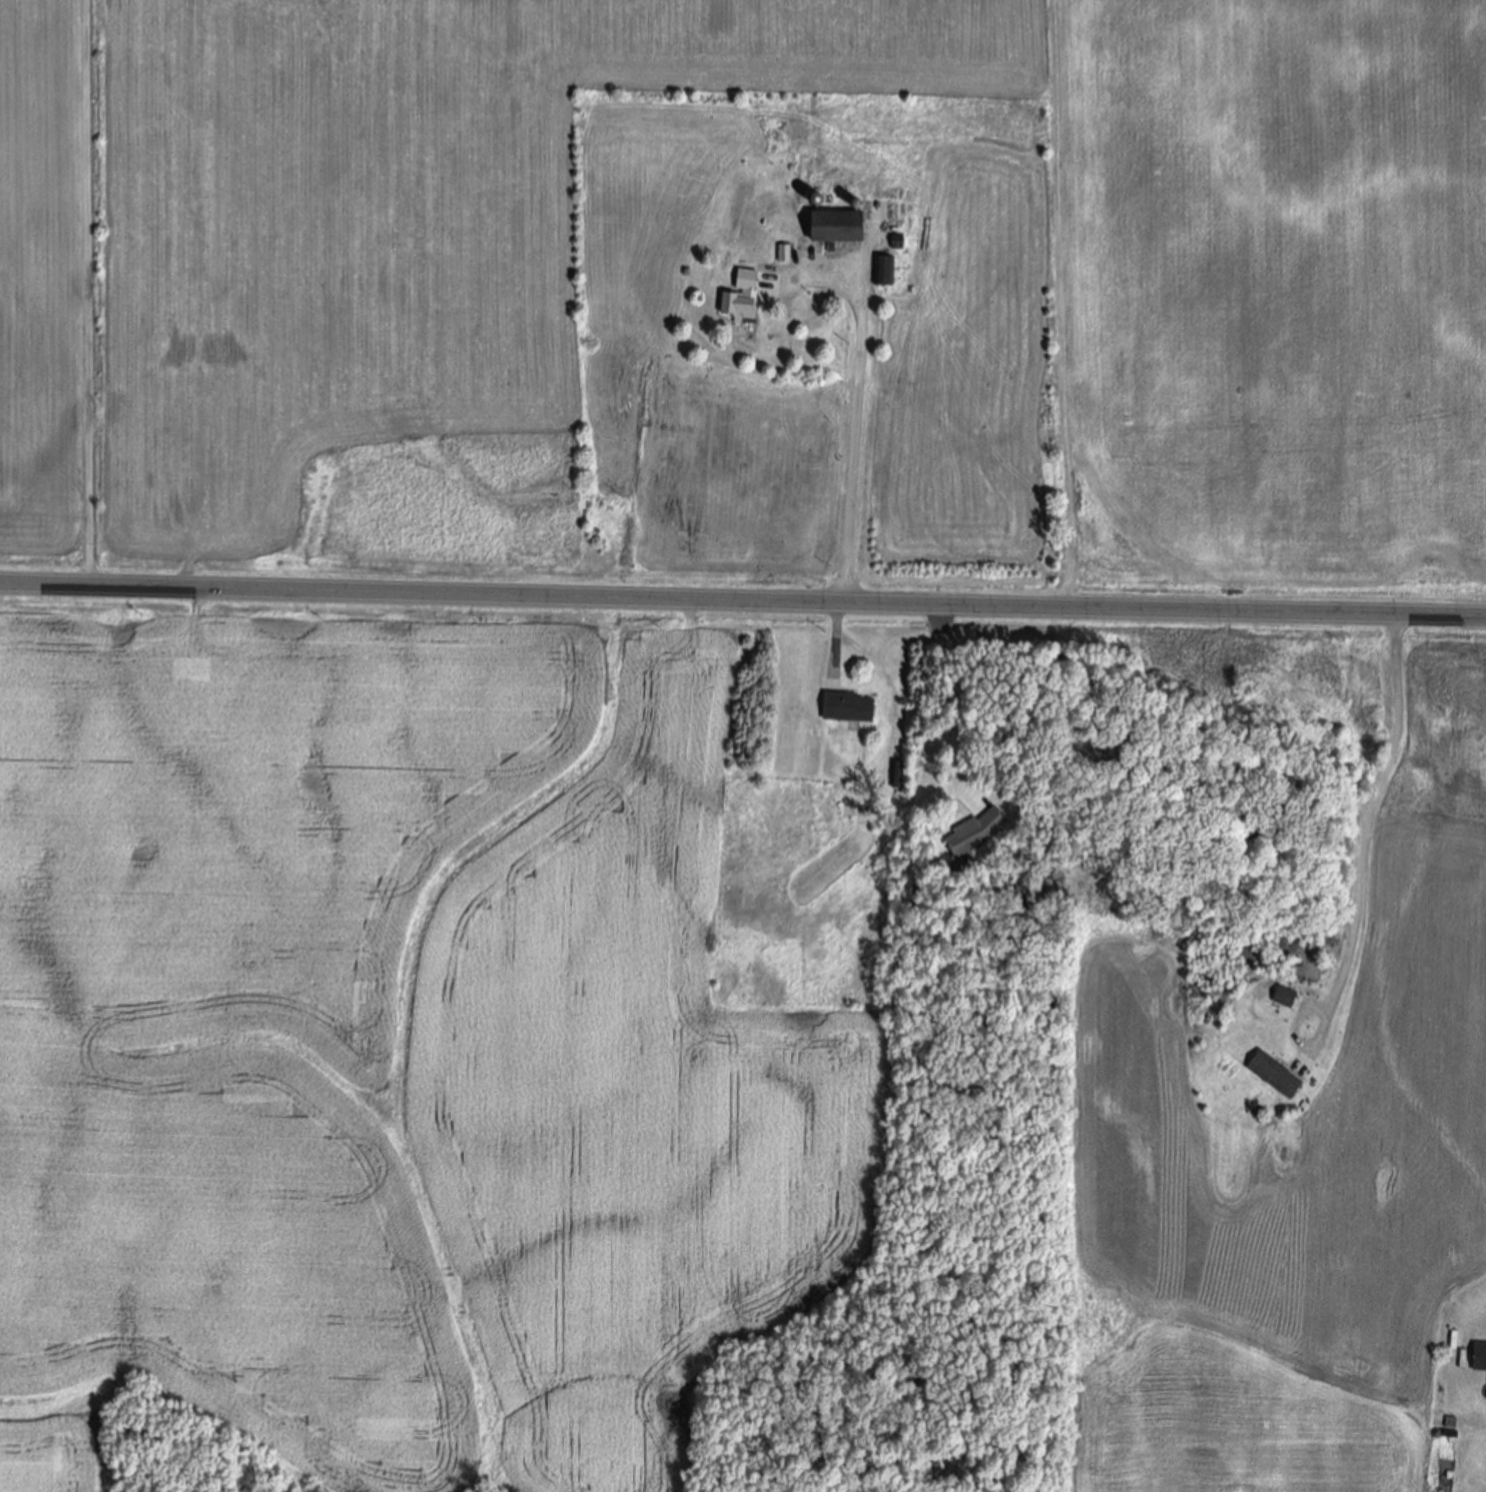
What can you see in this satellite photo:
building: (838, 227)
building: (783, 254)
building: (883, 272)
road: (88, 294)
building: (739, 301)
road: (856, 423)
road: (743, 601)
road: (837, 640)
road: (945, 695)
building: (848, 708)
building: (967, 794)
road: (1359, 828)
building: (976, 833)
building: (1283, 999)
building: (1274, 1076)
building: (1479, 1357)

